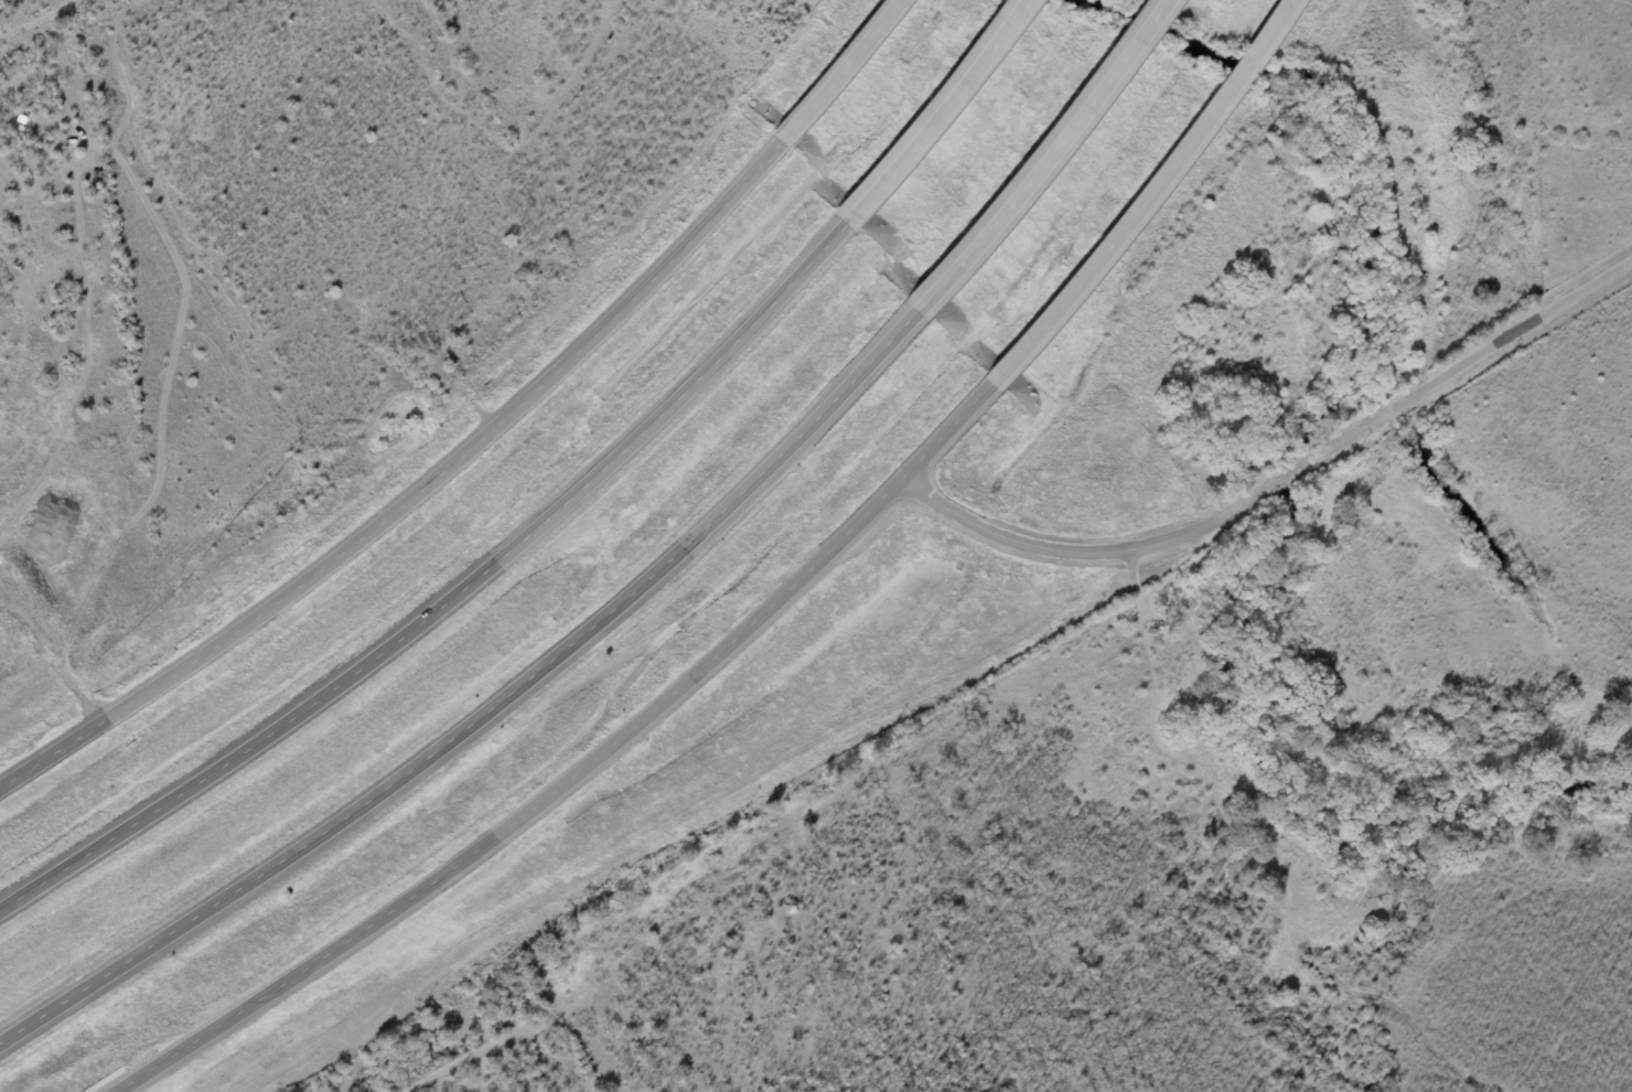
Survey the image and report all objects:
road: (839, 69)
road: (936, 114)
road: (1048, 156)
road: (1149, 195)
road: (1282, 480)
road: (416, 491)
road: (445, 596)
road: (53, 666)
road: (490, 709)
road: (579, 769)

